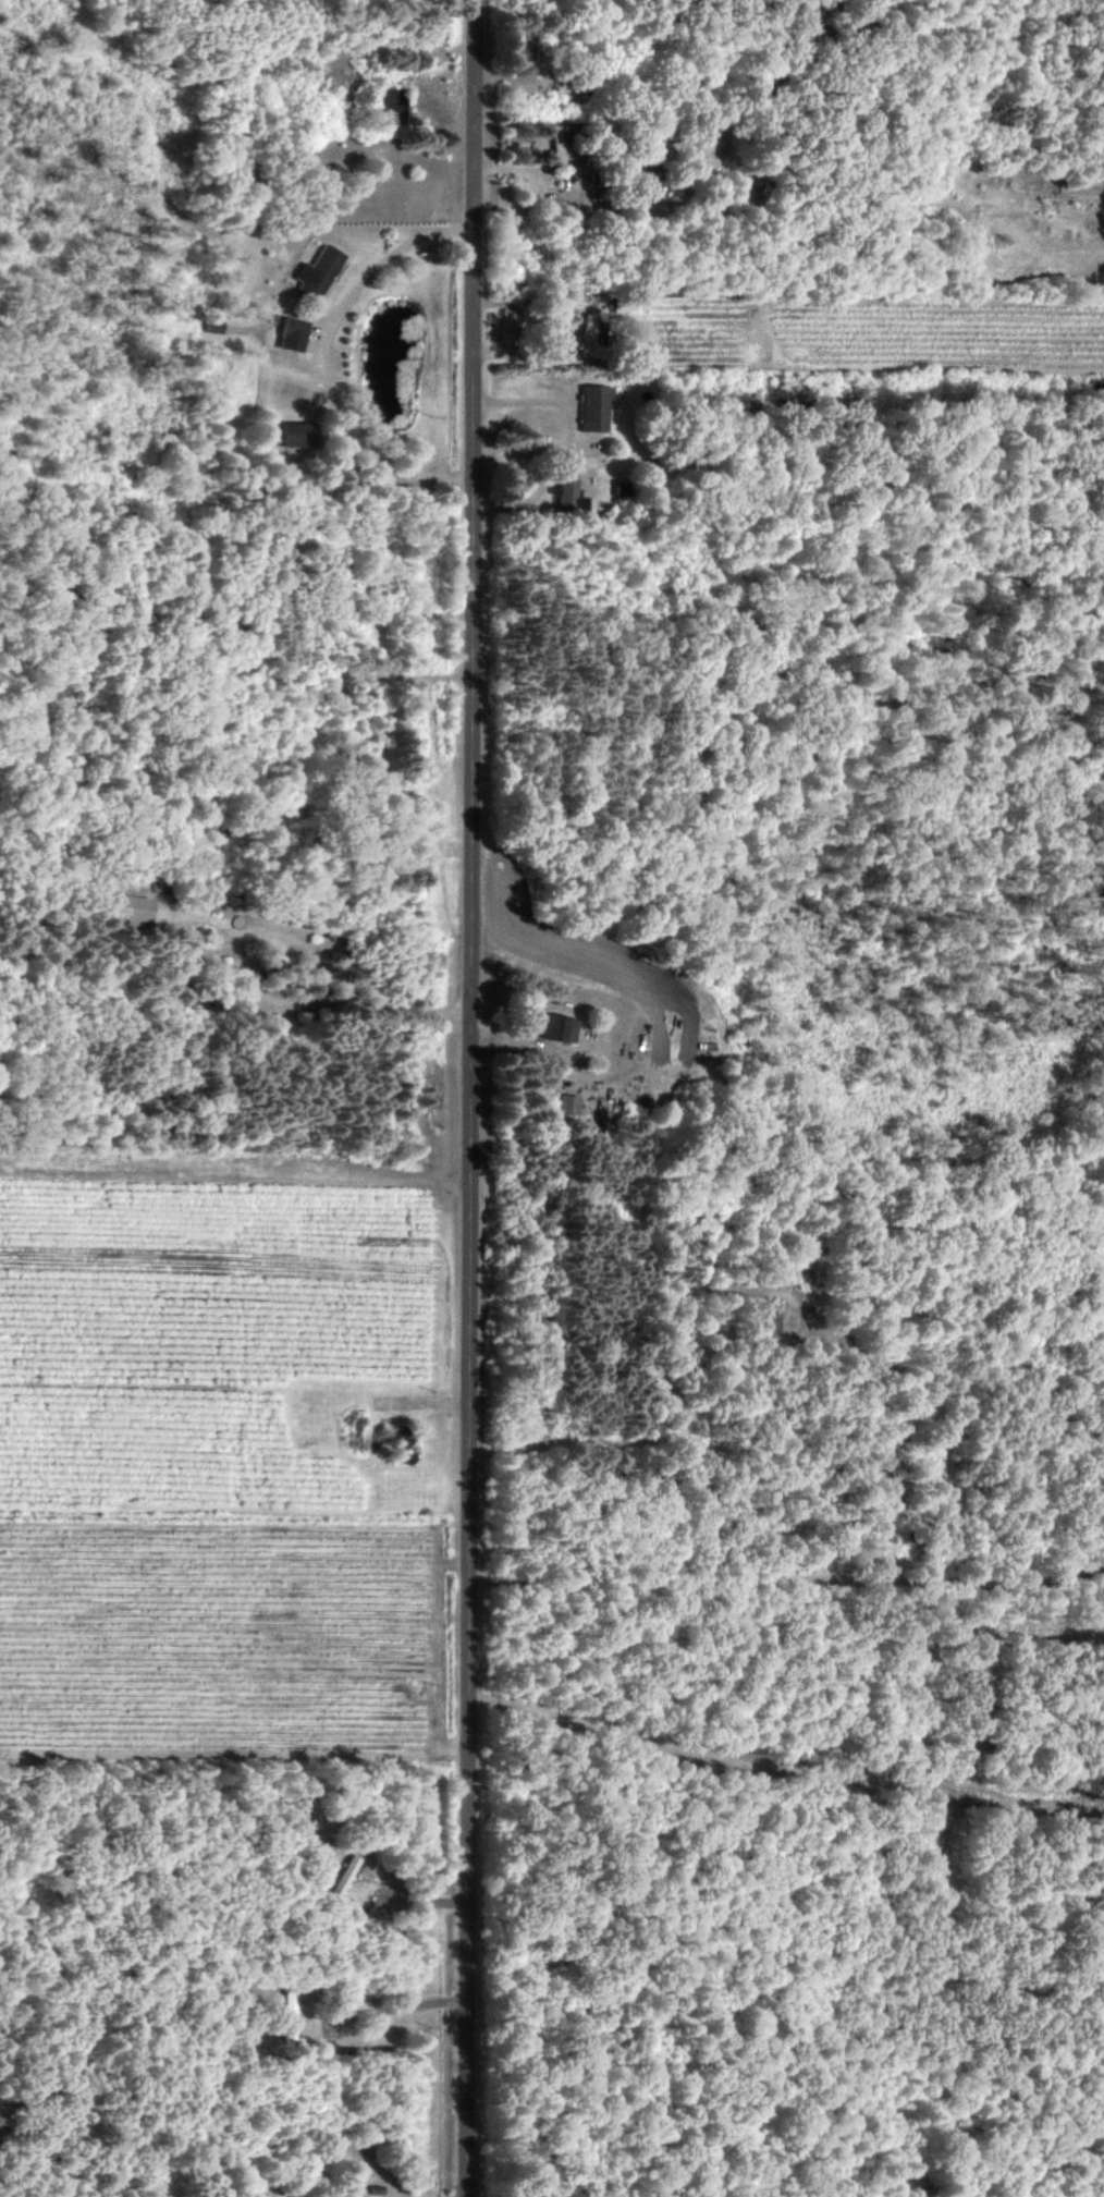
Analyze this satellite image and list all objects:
building: (555, 143)
building: (319, 270)
building: (626, 305)
building: (294, 333)
road: (332, 364)
building: (594, 407)
building: (296, 434)
building: (569, 495)
building: (133, 906)
road: (331, 980)
building: (556, 1026)
road: (471, 1098)
building: (567, 1103)
road: (787, 1583)
road: (787, 1756)
road: (961, 1915)

